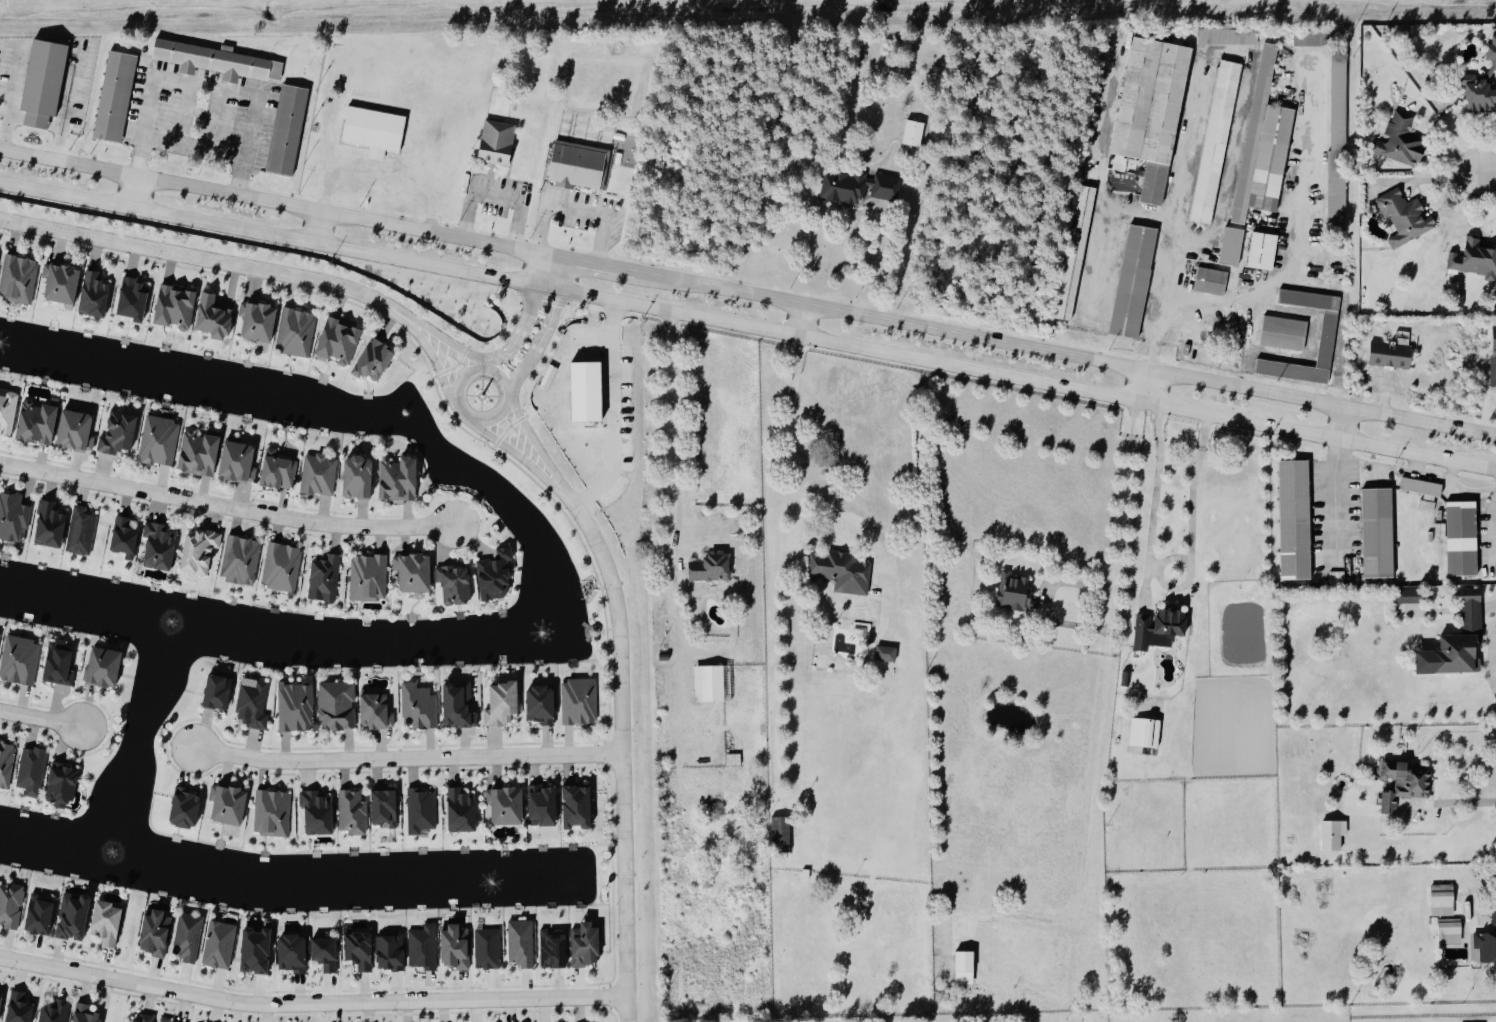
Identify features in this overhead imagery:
building: (1227, 37)
building: (1311, 37)
building: (45, 78)
road: (190, 79)
building: (1483, 86)
building: (115, 98)
building: (1136, 98)
building: (1166, 103)
road: (67, 106)
building: (287, 130)
building: (373, 130)
building: (913, 134)
building: (1254, 134)
building: (1401, 141)
building: (1215, 142)
building: (496, 143)
road: (195, 149)
building: (577, 166)
road: (1485, 172)
building: (859, 187)
road: (499, 197)
road: (577, 206)
building: (1406, 217)
road: (1175, 218)
road: (318, 227)
building: (1231, 247)
building: (1074, 252)
building: (1263, 252)
building: (1475, 259)
road: (217, 261)
road: (877, 268)
building: (19, 279)
building: (1210, 281)
building: (1133, 282)
building: (61, 283)
road: (748, 291)
building: (94, 296)
building: (133, 300)
building: (1308, 300)
building: (175, 308)
road: (527, 315)
building: (213, 317)
road: (801, 319)
building: (258, 322)
road: (546, 326)
road: (747, 326)
building: (296, 333)
building: (1283, 334)
building: (1494, 339)
building: (340, 342)
fountain: (2, 343)
road: (458, 347)
building: (1390, 355)
building: (374, 360)
road: (440, 369)
building: (1291, 372)
building: (1492, 372)
road: (1141, 385)
building: (585, 392)
road: (463, 410)
building: (9, 411)
fountain: (407, 412)
road: (613, 412)
building: (37, 423)
road: (1341, 424)
building: (76, 431)
building: (118, 433)
road: (533, 439)
building: (159, 440)
road: (673, 441)
road: (512, 451)
building: (200, 452)
building: (238, 462)
building: (278, 470)
road: (799, 472)
road: (1407, 472)
road: (1495, 472)
building: (319, 476)
building: (358, 479)
building: (399, 480)
building: (1420, 488)
road: (227, 507)
road: (1337, 511)
building: (13, 517)
building: (1294, 520)
building: (50, 526)
building: (81, 532)
building: (1376, 533)
building: (125, 539)
building: (1461, 540)
building: (159, 547)
building: (200, 552)
building: (241, 561)
building: (282, 567)
building: (712, 569)
building: (842, 572)
building: (414, 573)
building: (496, 575)
building: (369, 578)
building: (325, 579)
building: (456, 585)
road: (1163, 585)
building: (1017, 593)
road: (1115, 598)
building: (1408, 598)
fountain: (178, 626)
building: (1160, 628)
building: (0, 636)
building: (1459, 642)
building: (885, 655)
building: (663, 657)
building: (20, 661)
building: (59, 665)
road: (1492, 665)
building: (104, 668)
building: (1125, 679)
building: (709, 684)
building: (218, 693)
building: (580, 702)
building: (254, 704)
building: (297, 705)
building: (503, 705)
building: (338, 706)
building: (420, 706)
building: (541, 706)
building: (459, 707)
building: (376, 712)
road: (40, 720)
building: (1144, 733)
road: (622, 745)
road: (408, 758)
building: (733, 760)
building: (6, 764)
building: (32, 771)
building: (1406, 783)
building: (62, 785)
building: (229, 805)
road: (1448, 805)
building: (507, 806)
building: (543, 807)
building: (186, 808)
building: (577, 808)
building: (385, 809)
building: (422, 811)
building: (462, 811)
building: (318, 813)
building: (353, 813)
building: (273, 814)
building: (780, 835)
building: (1330, 837)
fountain: (122, 856)
building: (805, 875)
fountain: (492, 880)
building: (1441, 901)
building: (11, 905)
building: (40, 914)
building: (74, 916)
building: (107, 922)
building: (1451, 930)
building: (156, 933)
building: (189, 937)
building: (521, 943)
building: (1487, 943)
building: (220, 944)
building: (587, 944)
building: (456, 946)
building: (424, 947)
building: (489, 948)
building: (360, 949)
building: (553, 949)
building: (256, 950)
building: (391, 951)
building: (292, 952)
building: (326, 953)
building: (966, 967)
building: (1, 1000)
road: (312, 1003)
building: (19, 1008)
building: (86, 1013)
building: (145, 1018)
building: (167, 1020)

